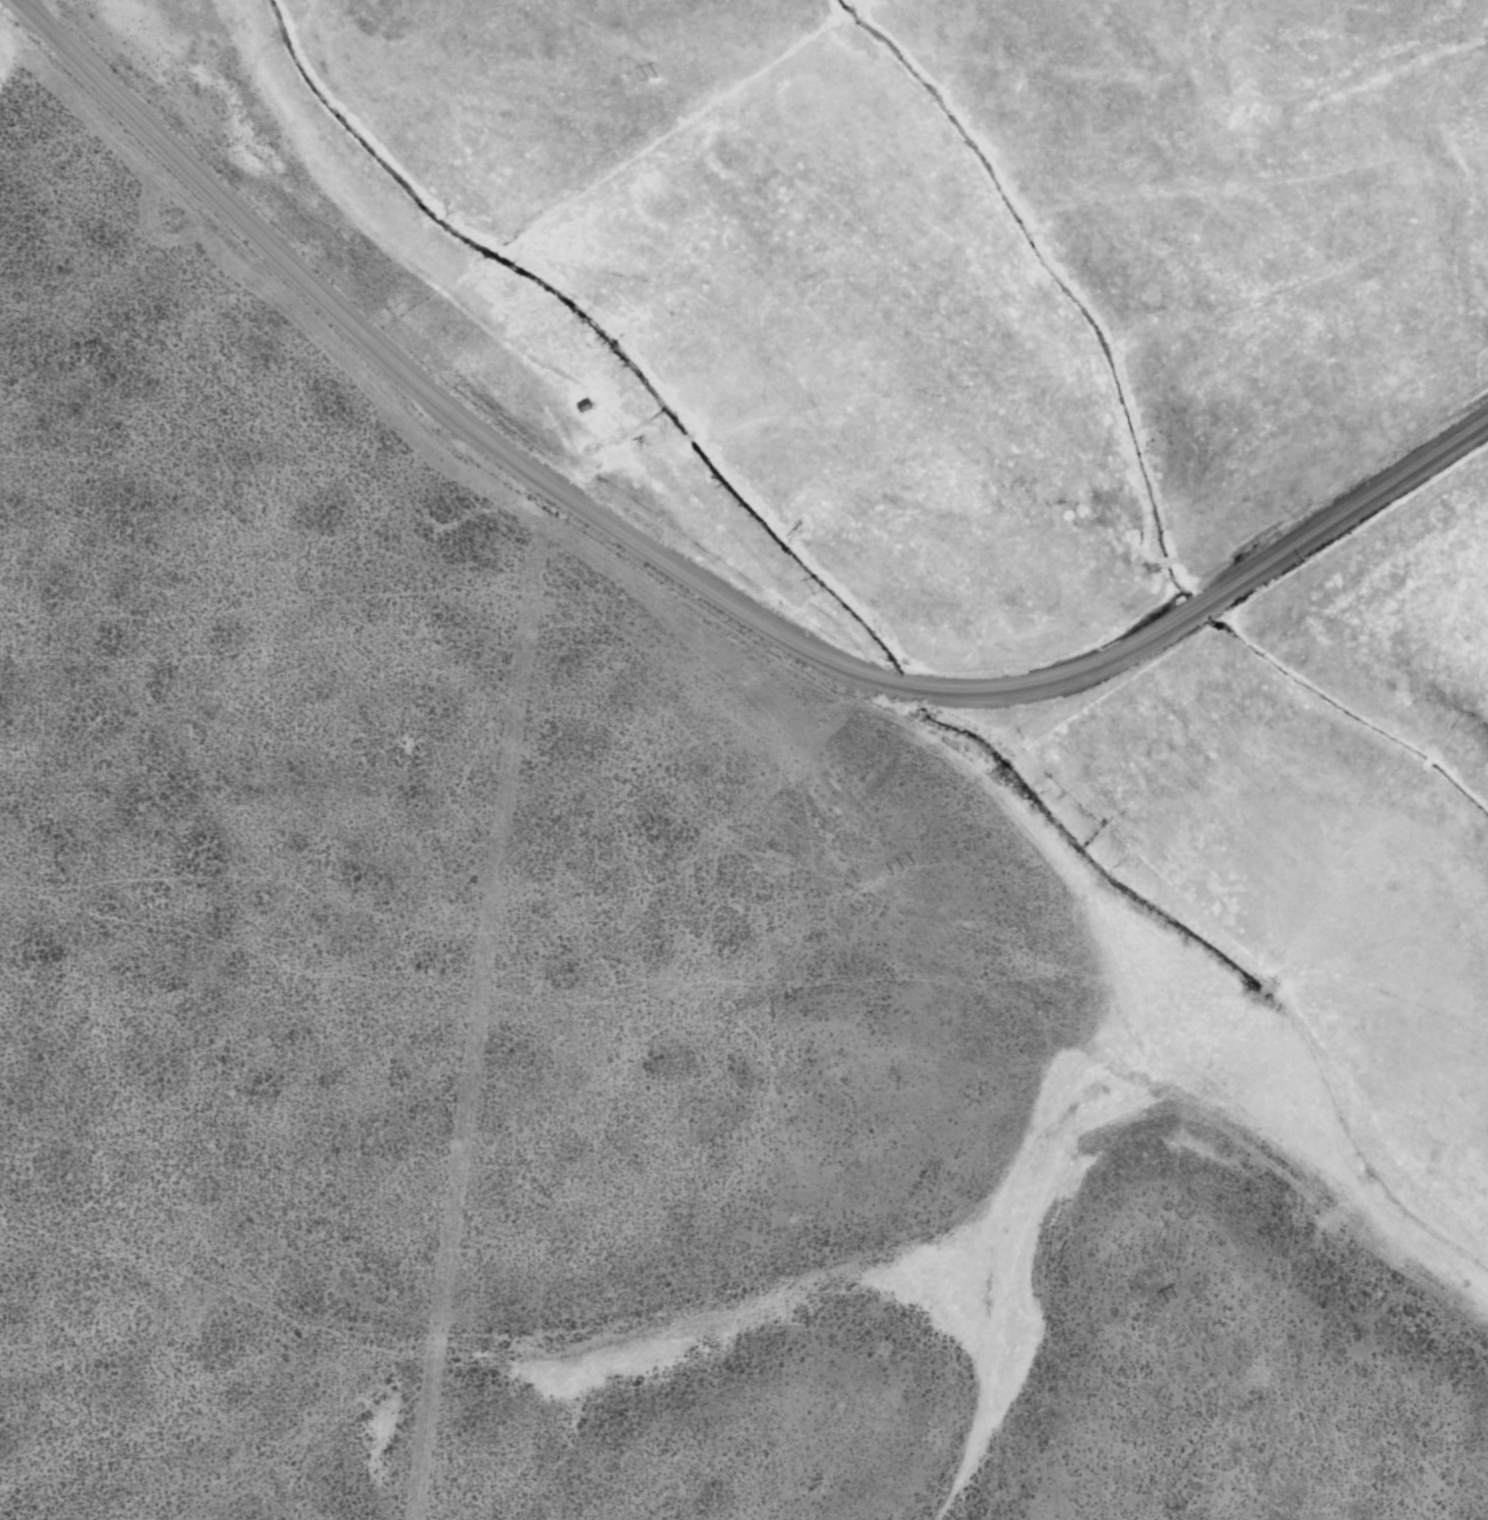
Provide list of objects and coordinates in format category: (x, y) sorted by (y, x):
power tower: (641, 83)
power tower: (804, 594)
road: (690, 642)
power tower: (892, 873)
power tower: (1162, 1301)

